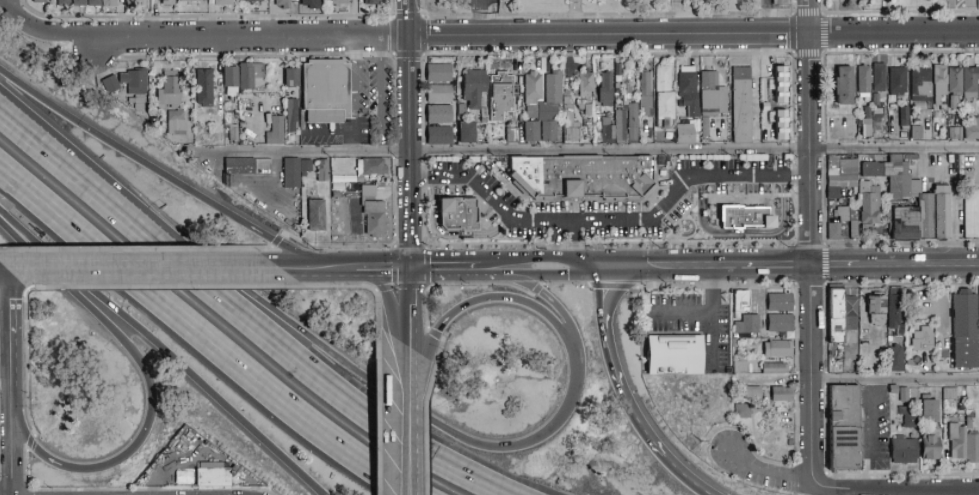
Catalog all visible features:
building: (39, 1)
building: (190, 1)
building: (221, 2)
building: (255, 2)
building: (374, 2)
building: (777, 2)
building: (64, 3)
building: (79, 3)
building: (94, 3)
building: (113, 3)
building: (134, 3)
building: (167, 3)
building: (338, 3)
building: (283, 4)
building: (311, 4)
parking lot: (481, 4)
road: (11, 5)
road: (6, 6)
road: (393, 8)
road: (605, 15)
road: (479, 17)
road: (491, 35)
road: (823, 52)
road: (511, 54)
road: (396, 55)
building: (589, 62)
building: (618, 72)
building: (439, 74)
building: (249, 76)
building: (291, 78)
building: (774, 78)
building: (879, 78)
building: (230, 80)
building: (954, 80)
building: (863, 81)
building: (897, 82)
building: (970, 82)
building: (586, 83)
building: (110, 84)
road: (355, 84)
building: (939, 84)
building: (844, 85)
building: (921, 85)
building: (136, 86)
building: (204, 87)
building: (473, 88)
building: (629, 88)
building: (169, 90)
building: (606, 90)
building: (326, 91)
building: (689, 91)
building: (978, 92)
building: (288, 93)
road: (380, 93)
building: (646, 93)
building: (439, 94)
building: (532, 94)
building: (664, 95)
building: (501, 96)
building: (712, 96)
building: (876, 99)
building: (567, 100)
building: (581, 103)
building: (954, 103)
building: (742, 105)
building: (233, 107)
building: (550, 107)
building: (890, 107)
building: (923, 108)
building: (461, 109)
building: (585, 109)
building: (943, 109)
building: (896, 110)
building: (484, 113)
building: (439, 115)
building: (904, 118)
building: (891, 120)
building: (292, 121)
building: (484, 121)
building: (775, 121)
building: (176, 122)
building: (633, 123)
building: (917, 123)
road: (260, 125)
building: (570, 125)
building: (620, 126)
building: (705, 127)
building: (608, 128)
building: (866, 128)
building: (971, 128)
building: (276, 131)
building: (697, 131)
building: (232, 132)
road: (329, 132)
building: (532, 132)
building: (685, 132)
building: (471, 133)
building: (917, 133)
road: (409, 134)
building: (955, 134)
building: (512, 135)
building: (439, 136)
building: (178, 139)
road: (355, 141)
road: (591, 147)
road: (396, 151)
building: (909, 157)
building: (501, 161)
building: (663, 161)
building: (239, 167)
building: (305, 167)
building: (372, 167)
building: (841, 167)
building: (871, 169)
road: (158, 170)
building: (323, 170)
building: (292, 174)
building: (583, 177)
building: (900, 180)
building: (831, 181)
building: (354, 190)
building: (368, 191)
building: (833, 193)
road: (954, 194)
building: (869, 203)
building: (941, 212)
building: (846, 213)
building: (458, 214)
building: (925, 215)
building: (971, 215)
building: (316, 216)
building: (374, 218)
road: (611, 218)
building: (743, 218)
building: (904, 223)
building: (866, 229)
building: (834, 231)
road: (742, 234)
road: (447, 237)
road: (566, 244)
road: (809, 246)
road: (428, 258)
road: (795, 266)
road: (531, 268)
road: (589, 268)
road: (344, 269)
traffic signals: (410, 269)
road: (453, 269)
road: (150, 270)
road: (11, 271)
road: (459, 284)
road: (565, 284)
road: (715, 286)
road: (613, 287)
road: (537, 290)
road: (555, 301)
road: (409, 302)
building: (741, 303)
building: (780, 303)
building: (876, 309)
road: (680, 313)
building: (896, 313)
road: (712, 314)
road: (245, 316)
building: (835, 316)
building: (964, 316)
building: (850, 317)
road: (942, 320)
building: (747, 325)
building: (780, 325)
road: (9, 329)
road: (436, 335)
road: (204, 338)
building: (923, 340)
building: (749, 349)
building: (778, 349)
road: (162, 351)
building: (674, 353)
building: (835, 358)
building: (896, 359)
building: (913, 361)
building: (931, 363)
building: (740, 366)
building: (775, 369)
road: (860, 379)
road: (417, 381)
road: (5, 387)
building: (893, 390)
road: (154, 393)
building: (753, 393)
road: (626, 394)
building: (781, 394)
building: (904, 395)
building: (949, 398)
building: (961, 407)
building: (758, 410)
building: (742, 411)
building: (929, 413)
road: (408, 415)
building: (908, 417)
building: (969, 419)
road: (436, 423)
building: (845, 428)
building: (957, 440)
road: (10, 441)
building: (930, 445)
building: (972, 448)
building: (903, 450)
building: (213, 475)
road: (850, 489)

